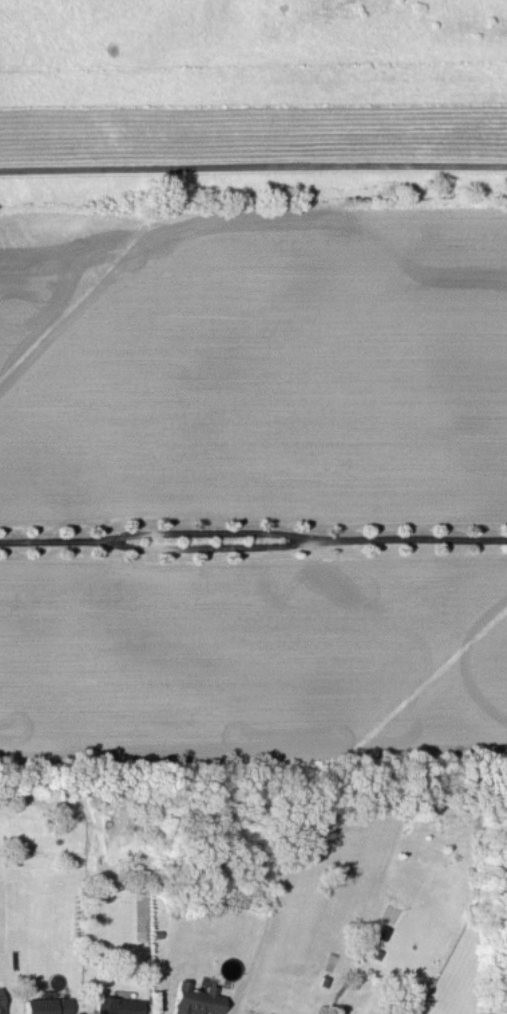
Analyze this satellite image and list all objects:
road: (253, 158)
road: (253, 546)
building: (194, 999)
building: (45, 1005)
building: (115, 1005)
building: (0, 1009)
building: (246, 1013)
building: (263, 1013)

